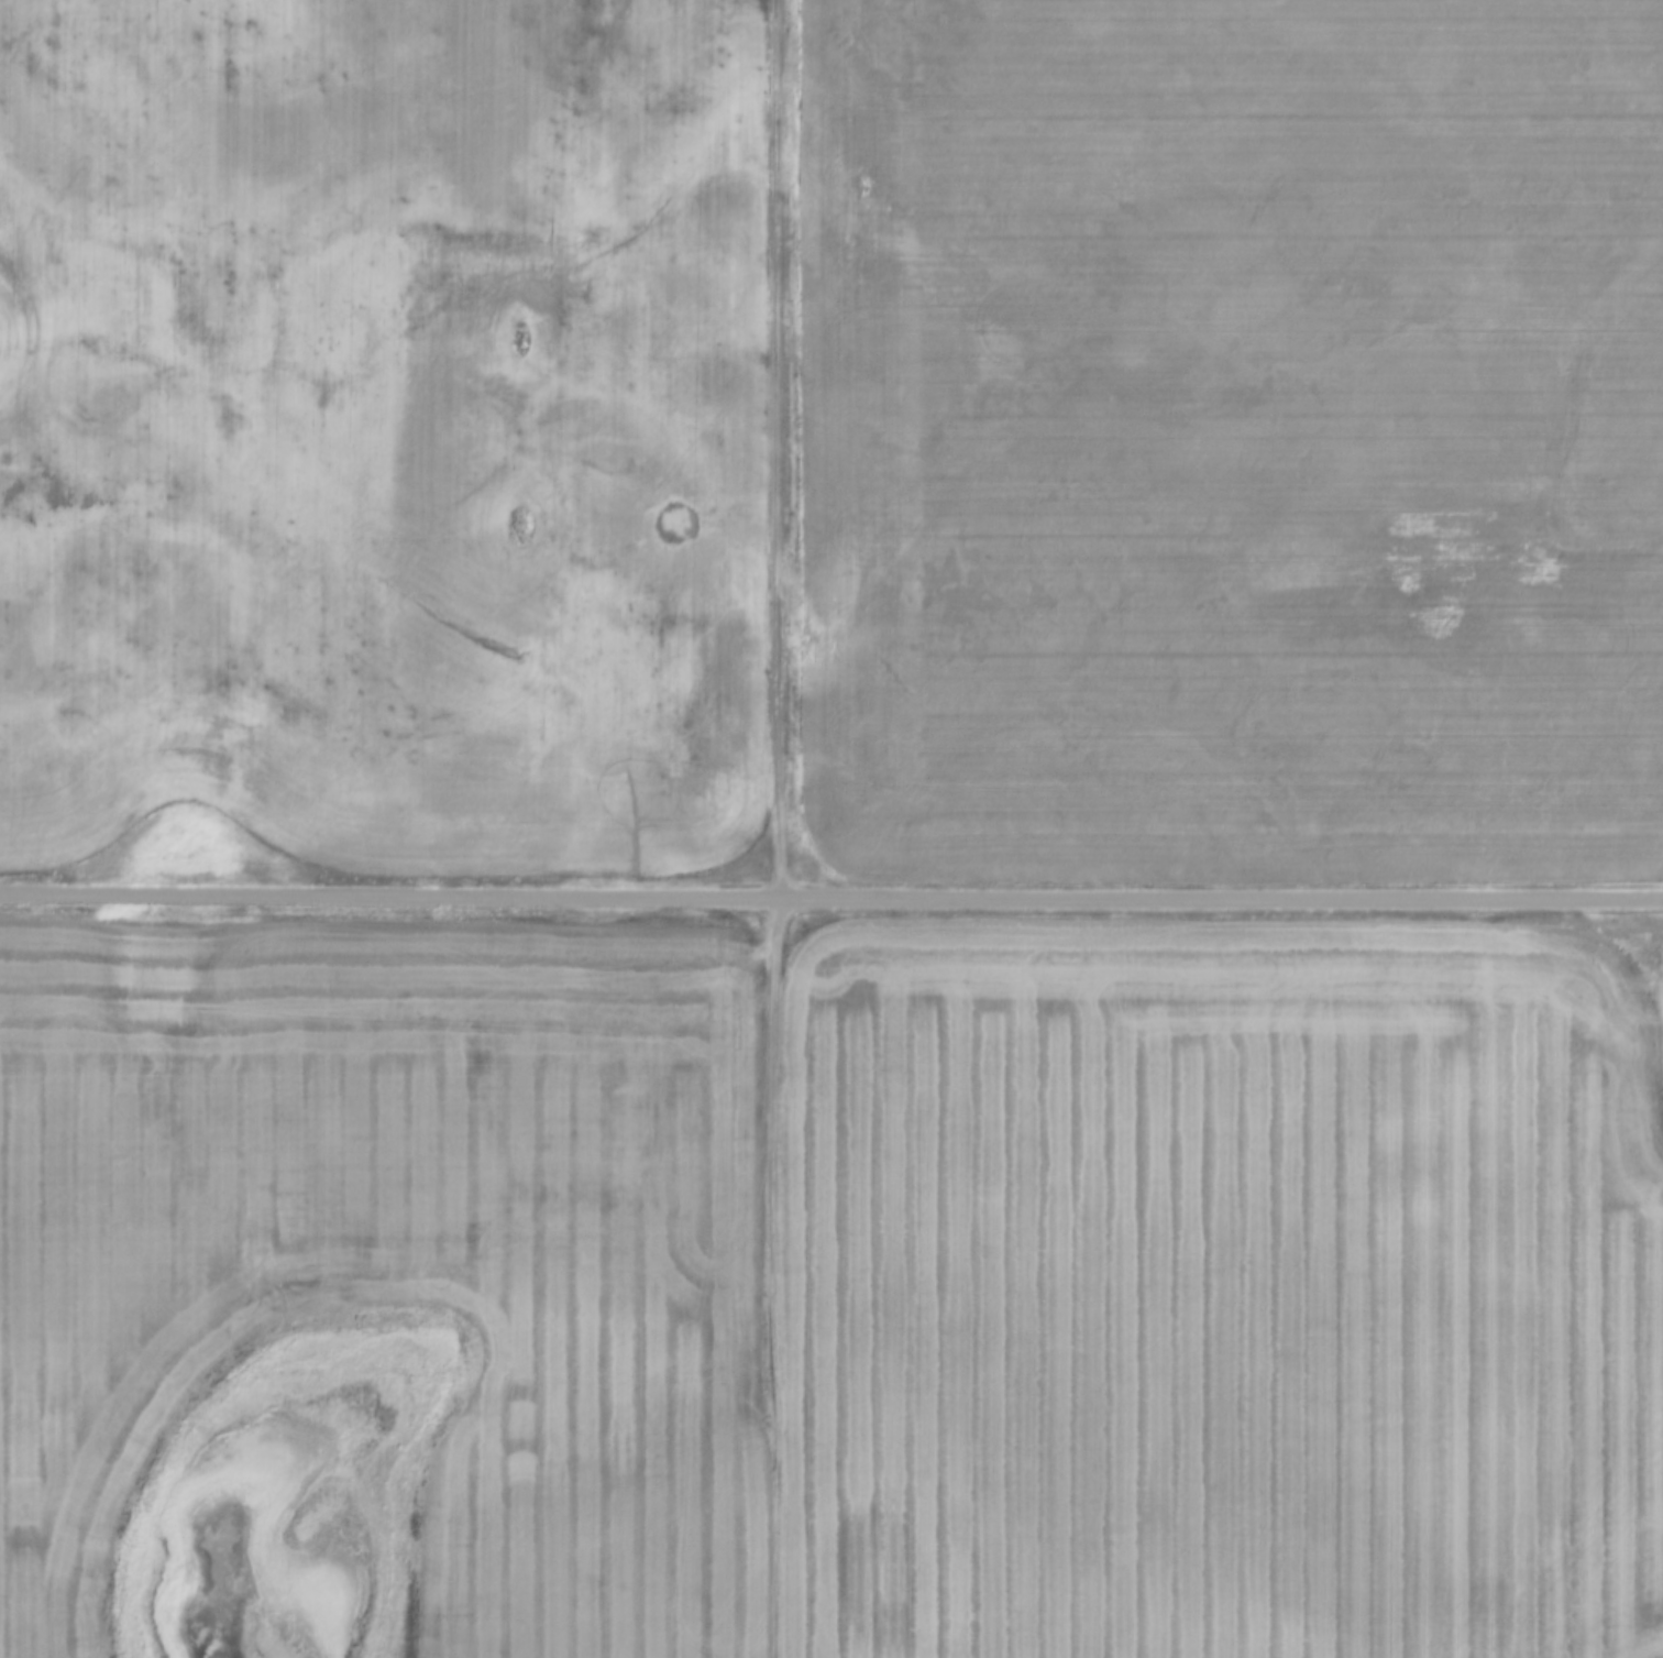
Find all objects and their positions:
road: (781, 828)
road: (830, 902)

